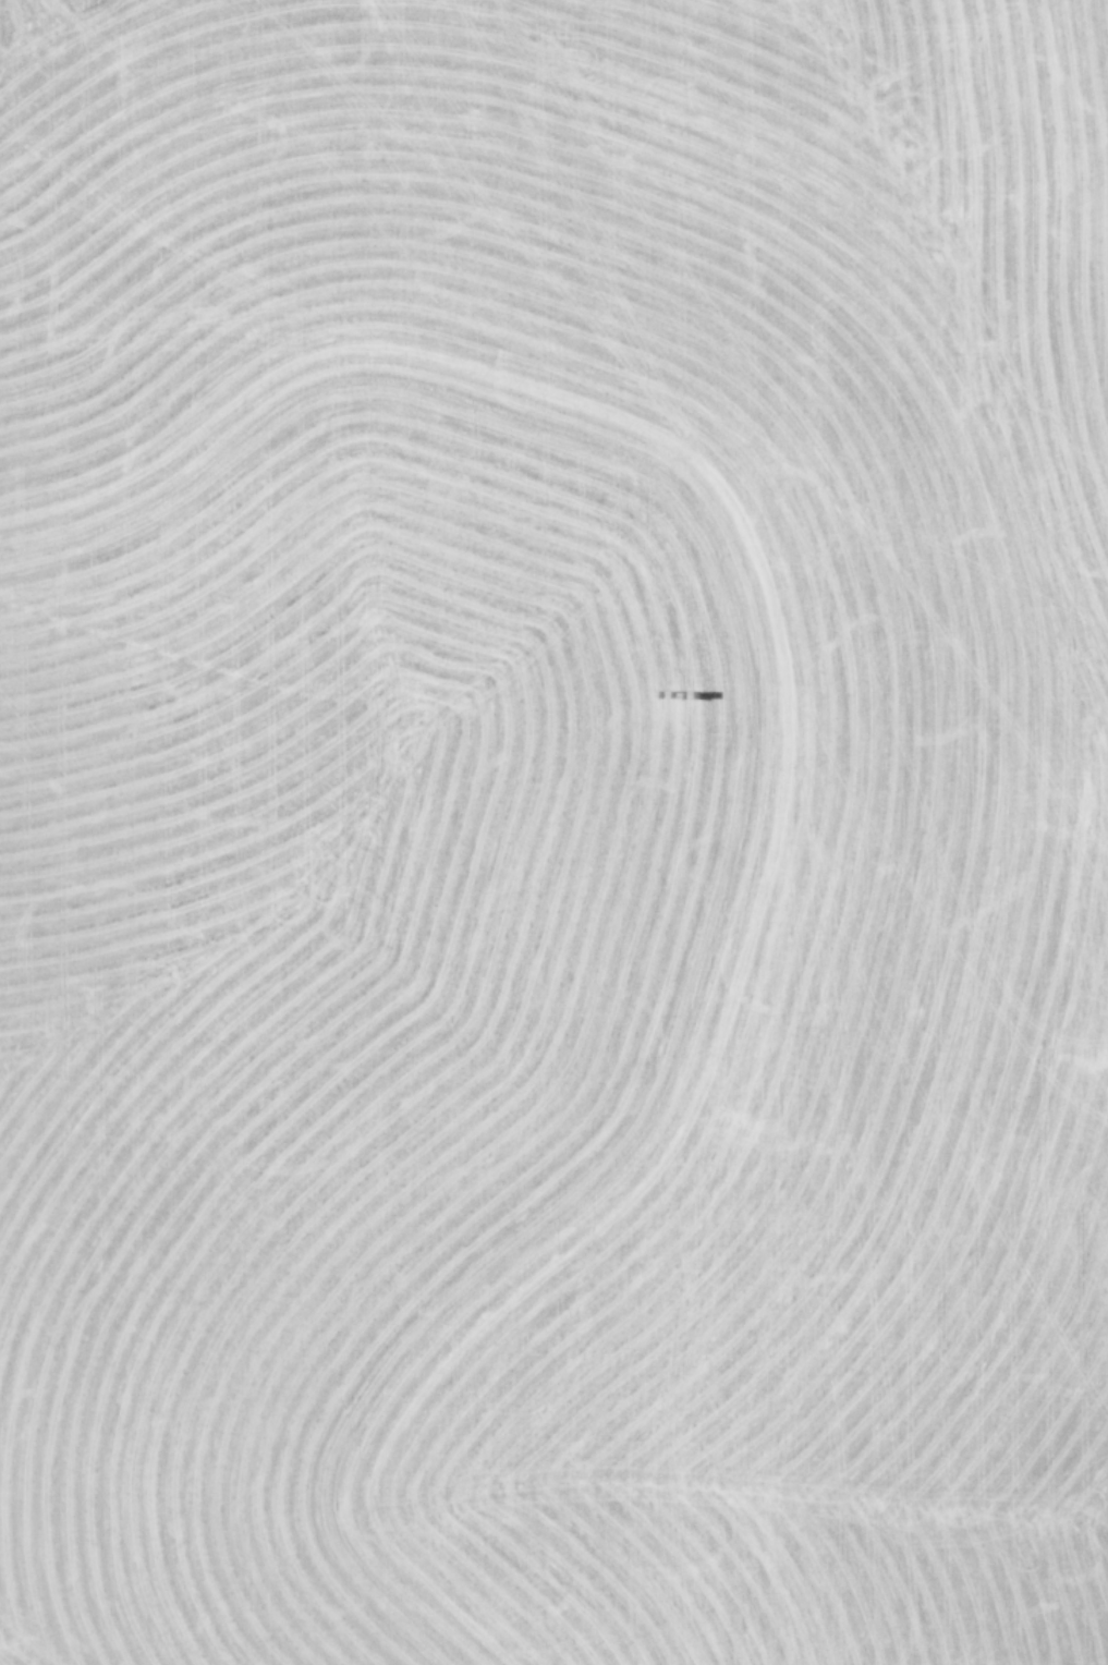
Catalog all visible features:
crop: (553, 832)

